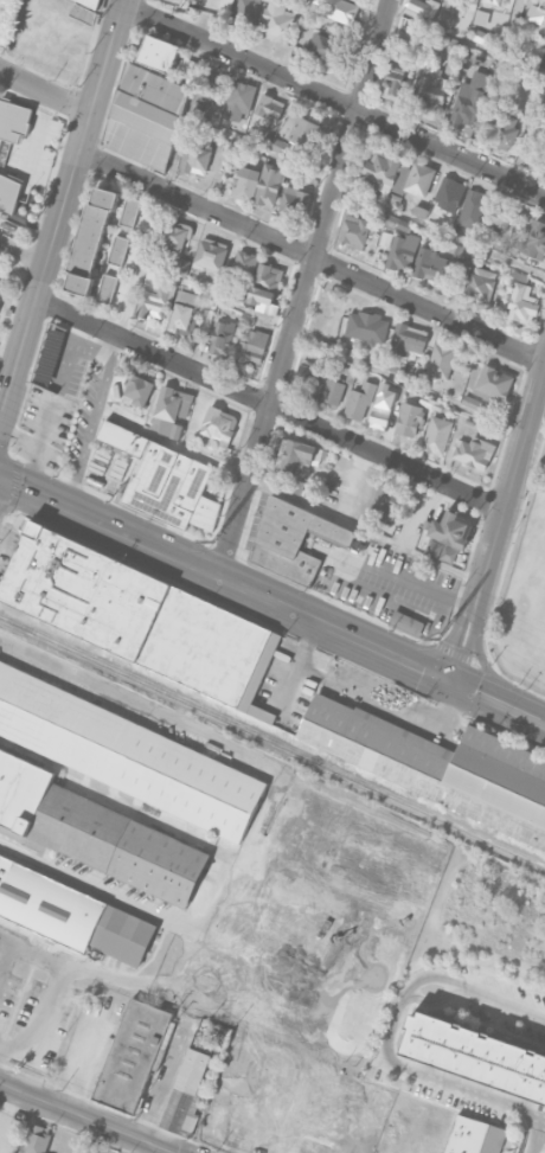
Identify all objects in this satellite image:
building: (496, 0)
building: (177, 1)
building: (92, 2)
building: (469, 4)
building: (419, 6)
building: (342, 9)
building: (536, 12)
building: (83, 13)
building: (246, 13)
road: (38, 17)
building: (481, 17)
park: (5, 18)
building: (276, 21)
building: (328, 47)
building: (159, 53)
building: (187, 68)
building: (396, 76)
building: (211, 84)
road: (45, 90)
building: (428, 90)
building: (241, 95)
building: (469, 96)
road: (334, 100)
building: (269, 107)
building: (145, 115)
building: (13, 120)
building: (501, 126)
building: (306, 132)
building: (275, 143)
building: (541, 155)
building: (194, 158)
building: (381, 171)
building: (419, 178)
building: (246, 182)
building: (269, 184)
building: (450, 193)
building: (294, 201)
building: (473, 207)
building: (129, 211)
road: (60, 214)
building: (495, 217)
building: (391, 220)
building: (403, 226)
building: (355, 230)
building: (172, 236)
building: (536, 237)
building: (386, 238)
building: (90, 239)
building: (402, 249)
building: (118, 250)
road: (23, 252)
building: (463, 254)
building: (210, 255)
road: (312, 258)
building: (429, 262)
road: (141, 263)
building: (243, 264)
building: (181, 267)
building: (263, 284)
road: (304, 287)
building: (480, 287)
building: (107, 288)
building: (152, 300)
building: (521, 302)
building: (180, 315)
building: (246, 319)
building: (366, 326)
building: (222, 337)
building: (406, 339)
building: (251, 346)
building: (56, 352)
building: (441, 359)
building: (310, 378)
building: (494, 382)
building: (332, 392)
building: (132, 395)
building: (359, 399)
building: (430, 402)
building: (472, 402)
road: (270, 405)
building: (168, 412)
building: (380, 414)
building: (409, 418)
road: (92, 419)
building: (216, 423)
building: (437, 435)
building: (474, 451)
building: (301, 455)
road: (122, 475)
building: (163, 480)
road: (23, 499)
building: (385, 500)
building: (449, 529)
road: (500, 529)
building: (293, 539)
power tower: (211, 540)
road: (347, 564)
road: (271, 598)
building: (140, 616)
building: (405, 623)
power tower: (436, 632)
traffic signals: (455, 681)
road: (92, 687)
railway: (272, 741)
building: (126, 754)
building: (440, 766)
road: (359, 809)
road: (267, 816)
building: (96, 832)
building: (350, 857)
building: (70, 915)
road: (187, 924)
building: (309, 931)
road: (6, 957)
road: (214, 957)
road: (86, 972)
road: (287, 1016)
road: (40, 1025)
road: (0, 1043)
road: (387, 1050)
building: (133, 1056)
building: (476, 1056)
building: (186, 1094)
road: (8, 1109)
road: (90, 1115)
building: (364, 1117)
building: (474, 1136)
building: (36, 1140)

